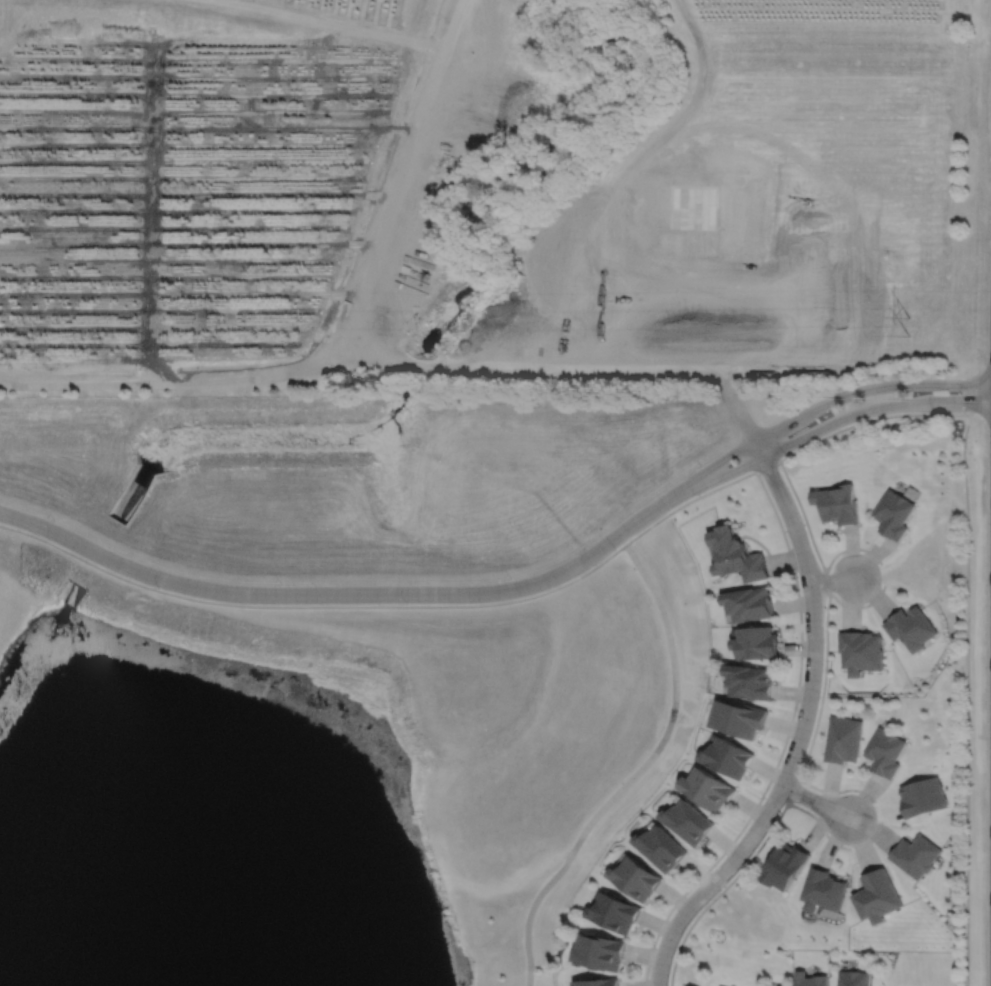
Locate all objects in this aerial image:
road: (401, 168)
road: (627, 171)
power tower: (914, 330)
power tower: (231, 334)
road: (327, 360)
road: (426, 365)
road: (554, 370)
road: (662, 372)
road: (788, 373)
road: (147, 383)
road: (821, 405)
road: (736, 406)
road: (826, 425)
road: (790, 455)
building: (837, 506)
building: (893, 515)
building: (736, 556)
road: (882, 572)
road: (832, 581)
road: (342, 594)
building: (748, 602)
road: (313, 606)
road: (811, 610)
dam: (262, 619)
building: (909, 626)
building: (755, 641)
building: (859, 650)
building: (749, 680)
road: (967, 699)
building: (737, 717)
road: (811, 739)
building: (842, 739)
road: (783, 745)
building: (884, 751)
building: (726, 756)
park: (323, 772)
road: (636, 772)
building: (707, 788)
building: (921, 797)
road: (815, 802)
building: (686, 821)
road: (876, 831)
building: (660, 848)
building: (914, 855)
building: (783, 865)
building: (635, 878)
road: (711, 882)
building: (822, 889)
building: (876, 896)
building: (616, 913)
building: (600, 953)
building: (853, 978)
building: (809, 979)
building: (599, 982)
building: (782, 985)

